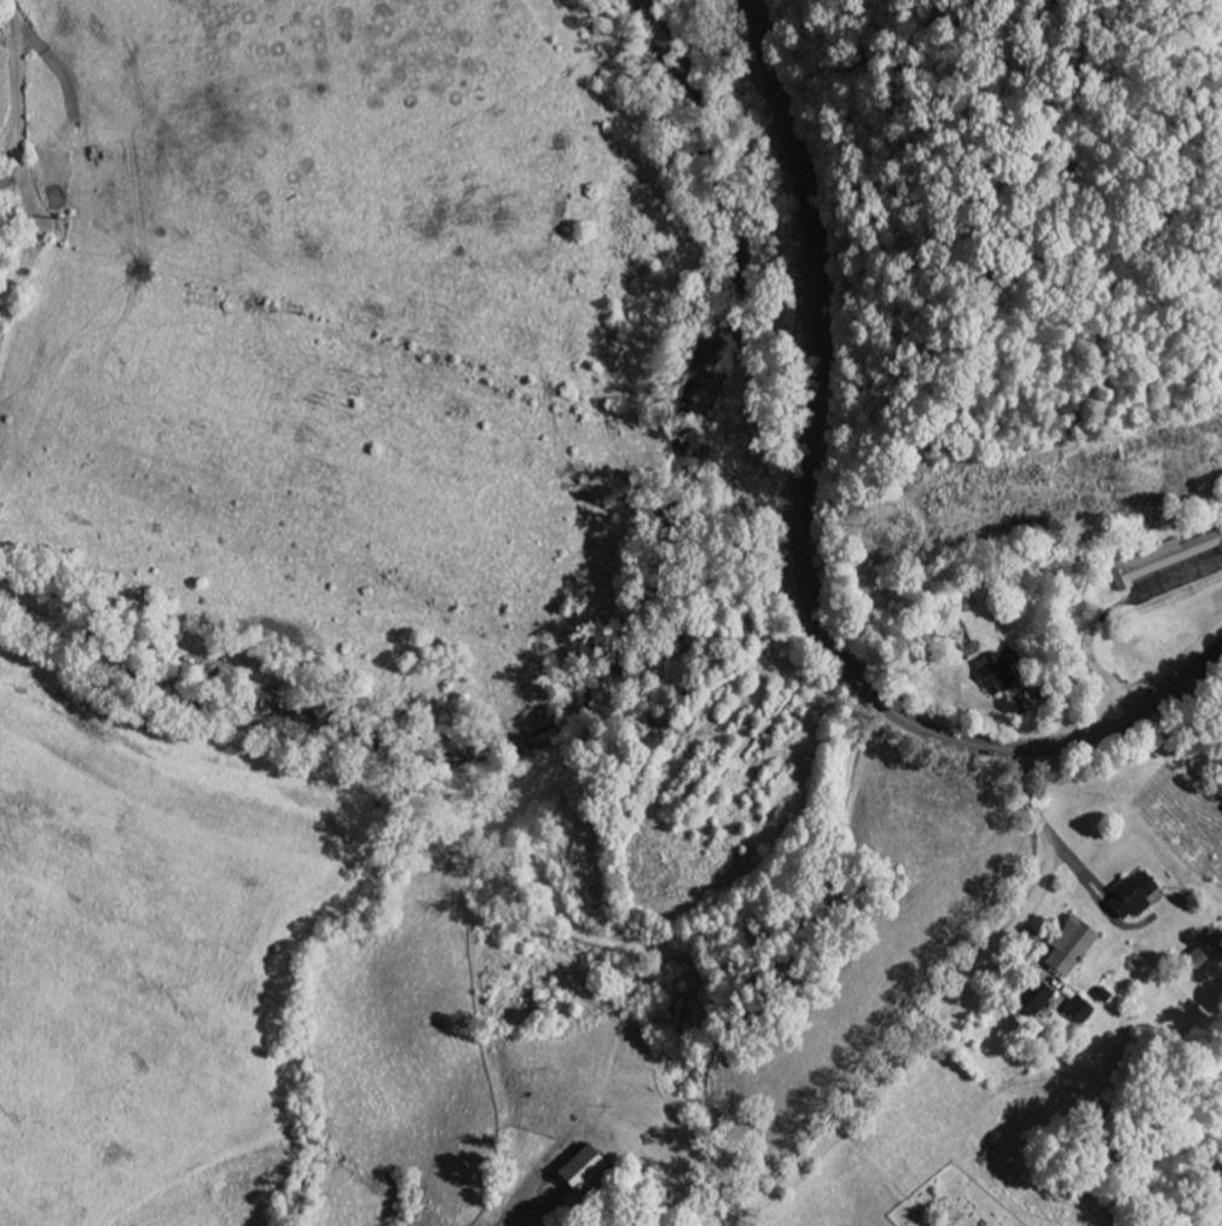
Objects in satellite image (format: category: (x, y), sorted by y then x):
road: (803, 530)
building: (1163, 560)
road: (1207, 660)
building: (1002, 676)
building: (1142, 897)
building: (1079, 947)
road: (967, 982)
building: (1050, 999)
building: (1085, 1010)
building: (592, 1168)
park: (955, 1203)

